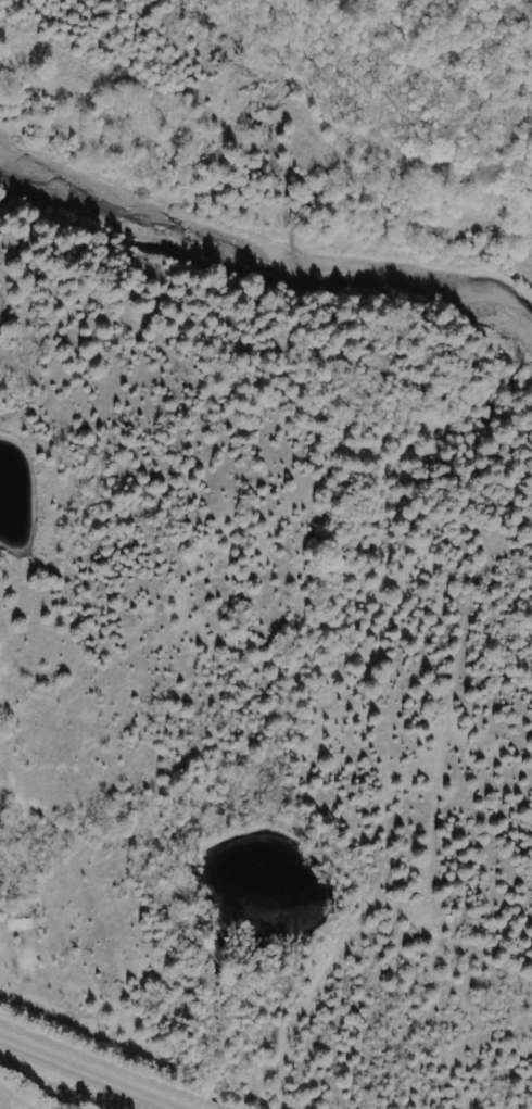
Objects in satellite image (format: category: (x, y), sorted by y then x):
road: (94, 1072)

